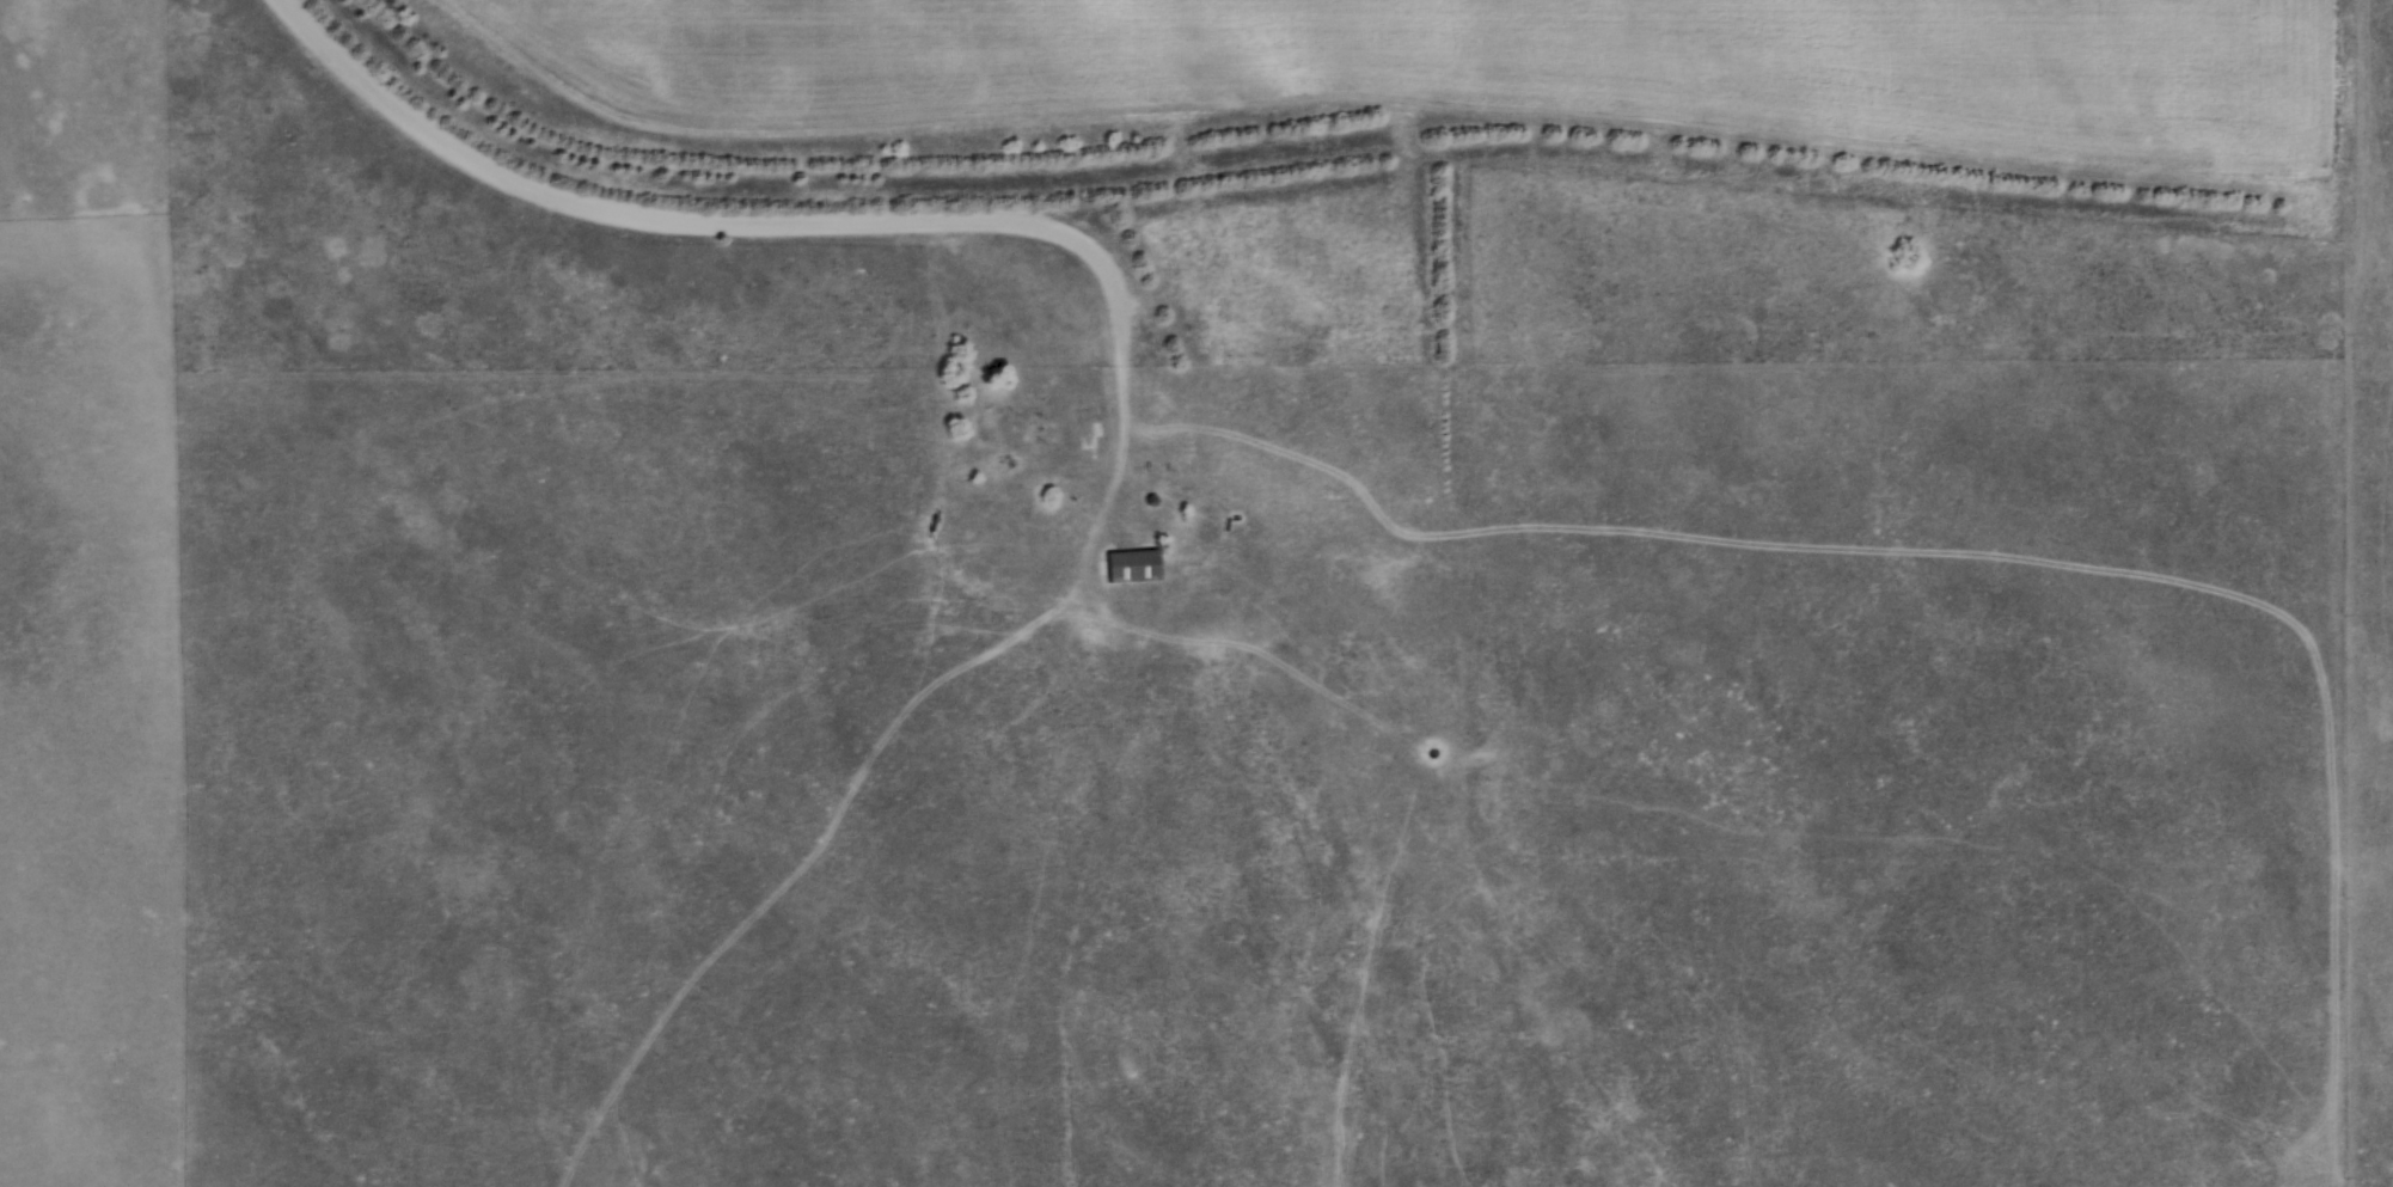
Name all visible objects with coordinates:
road: (611, 212)
road: (1120, 322)
building: (1131, 565)

